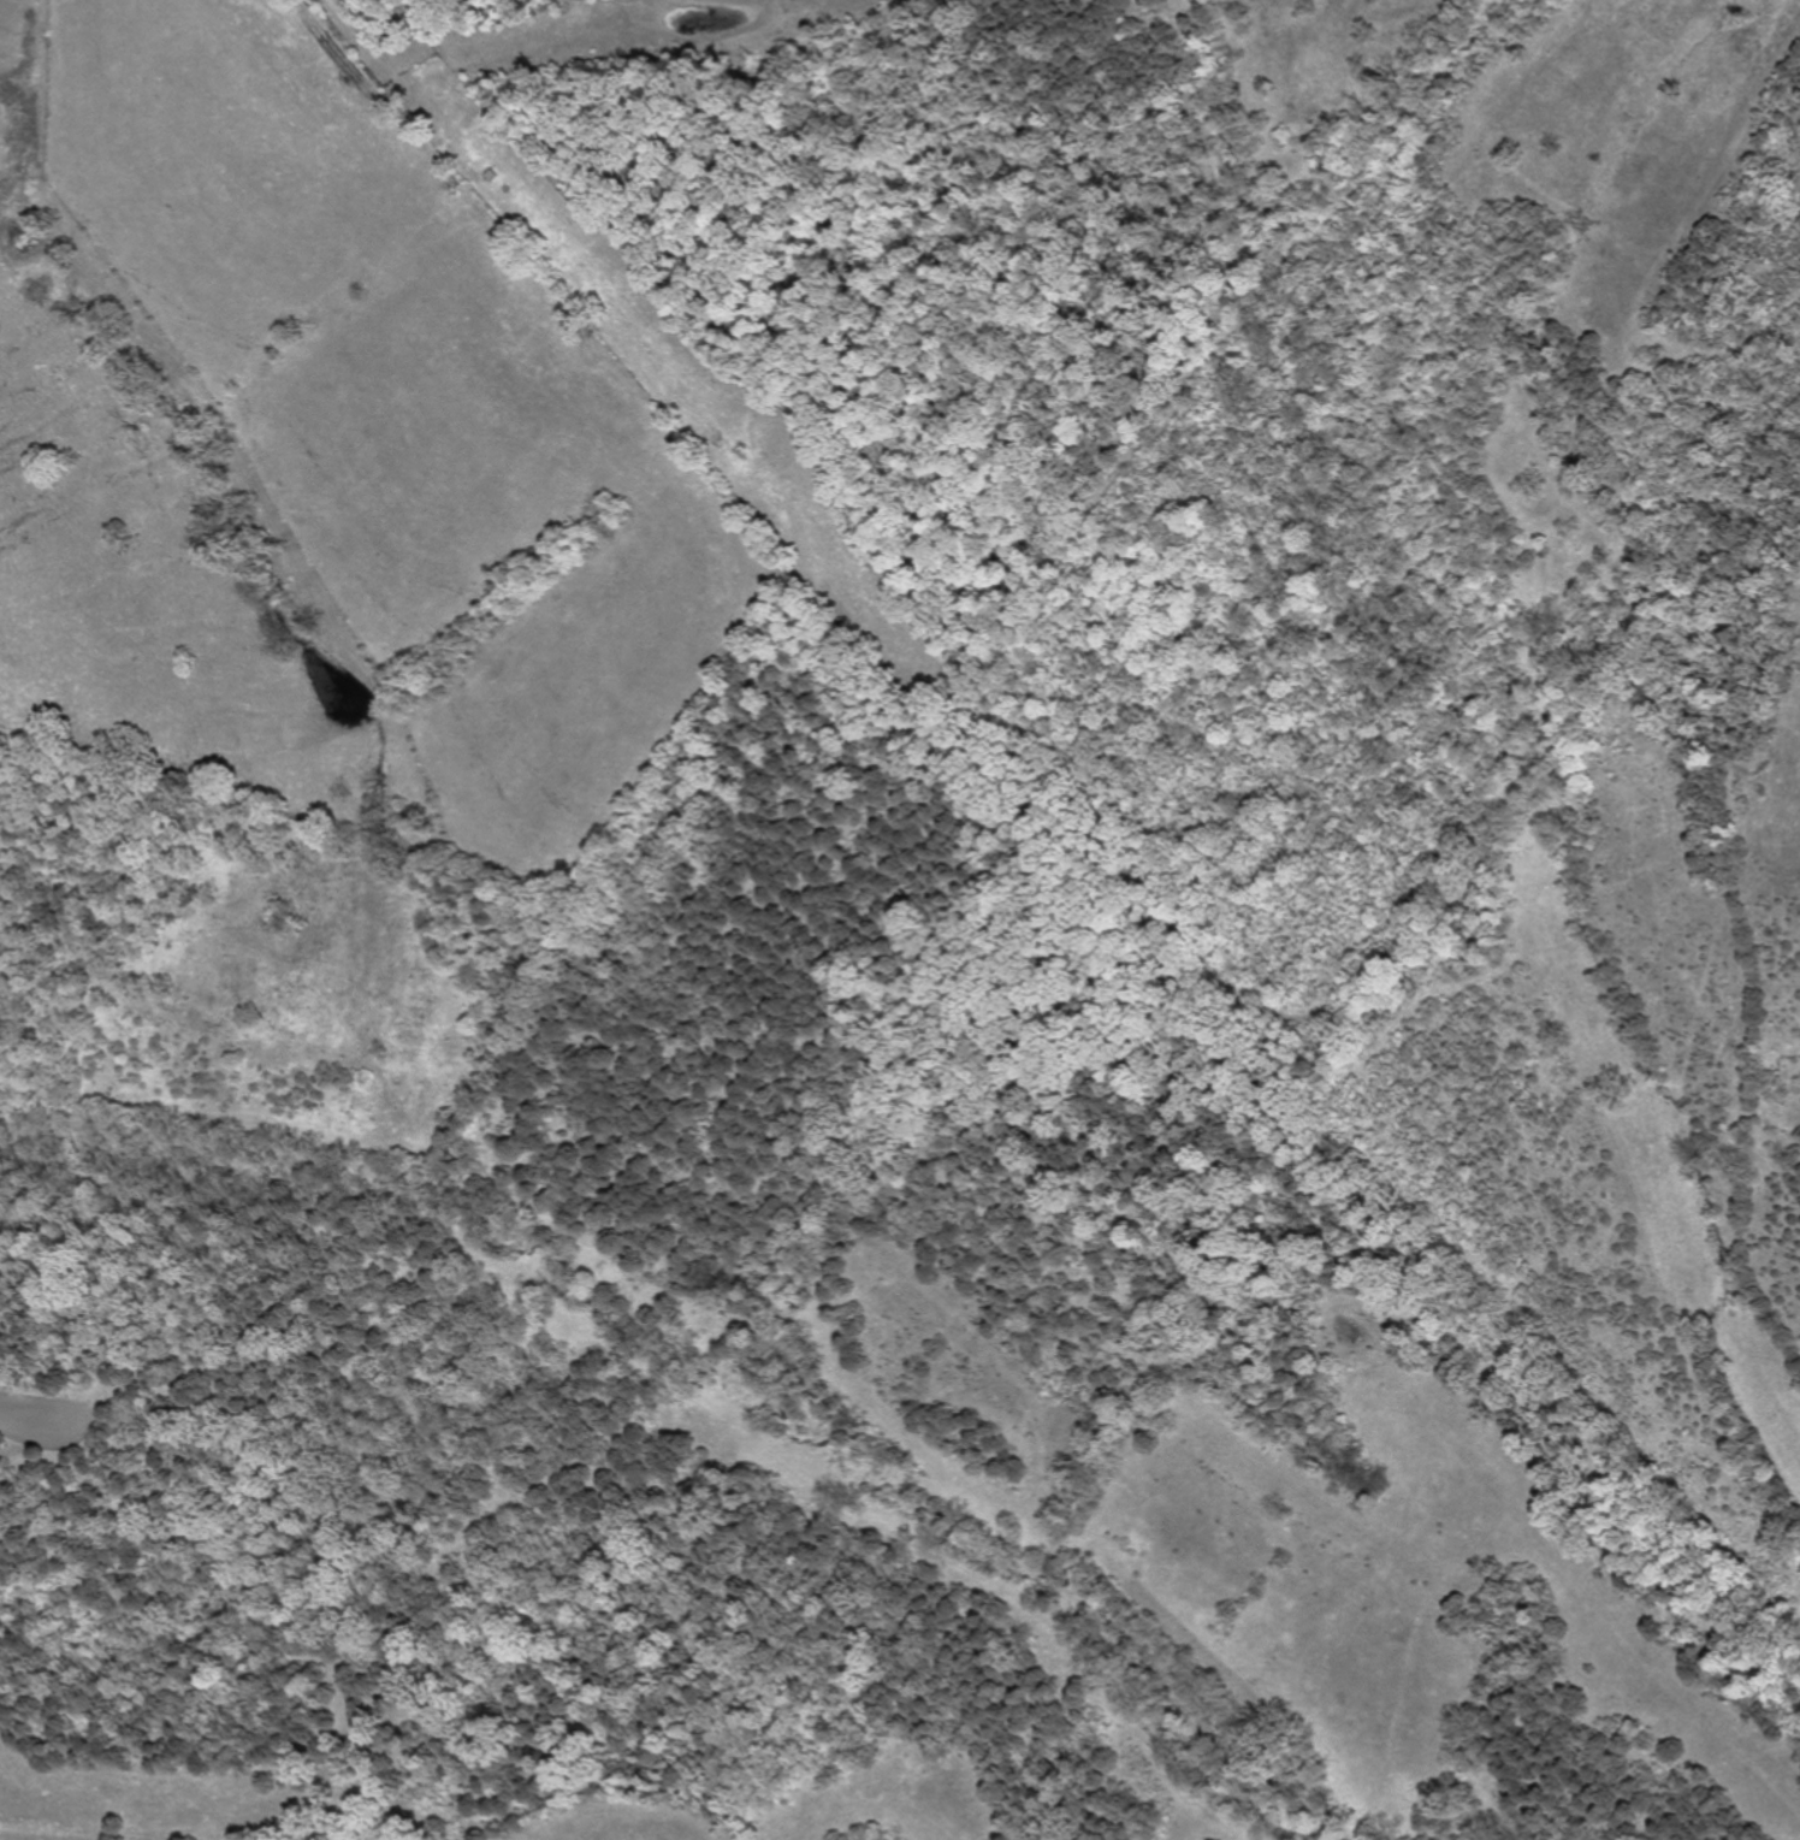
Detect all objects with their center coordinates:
road: (274, 1818)

